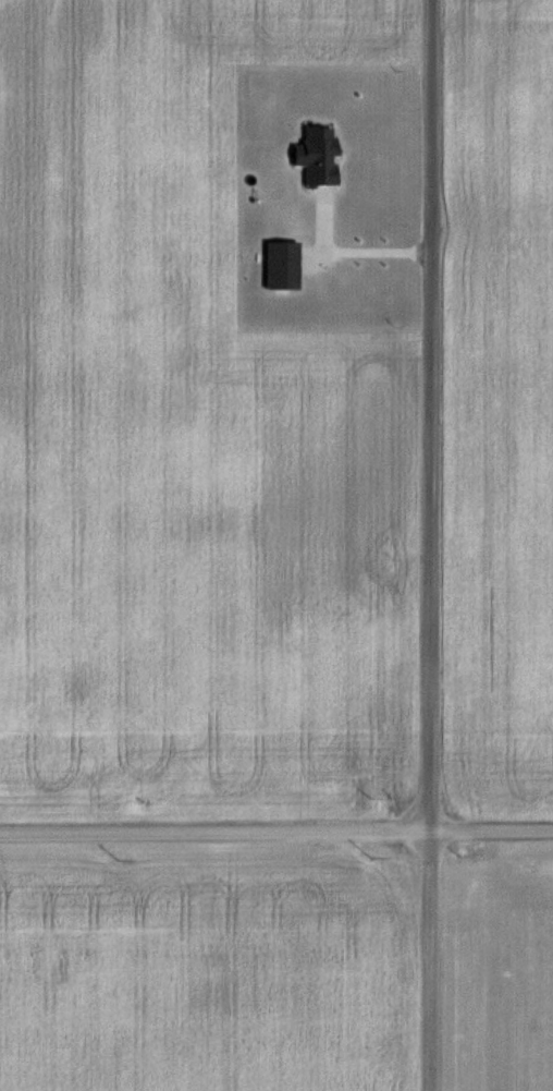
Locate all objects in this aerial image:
road: (344, 238)
road: (429, 545)
road: (276, 835)

